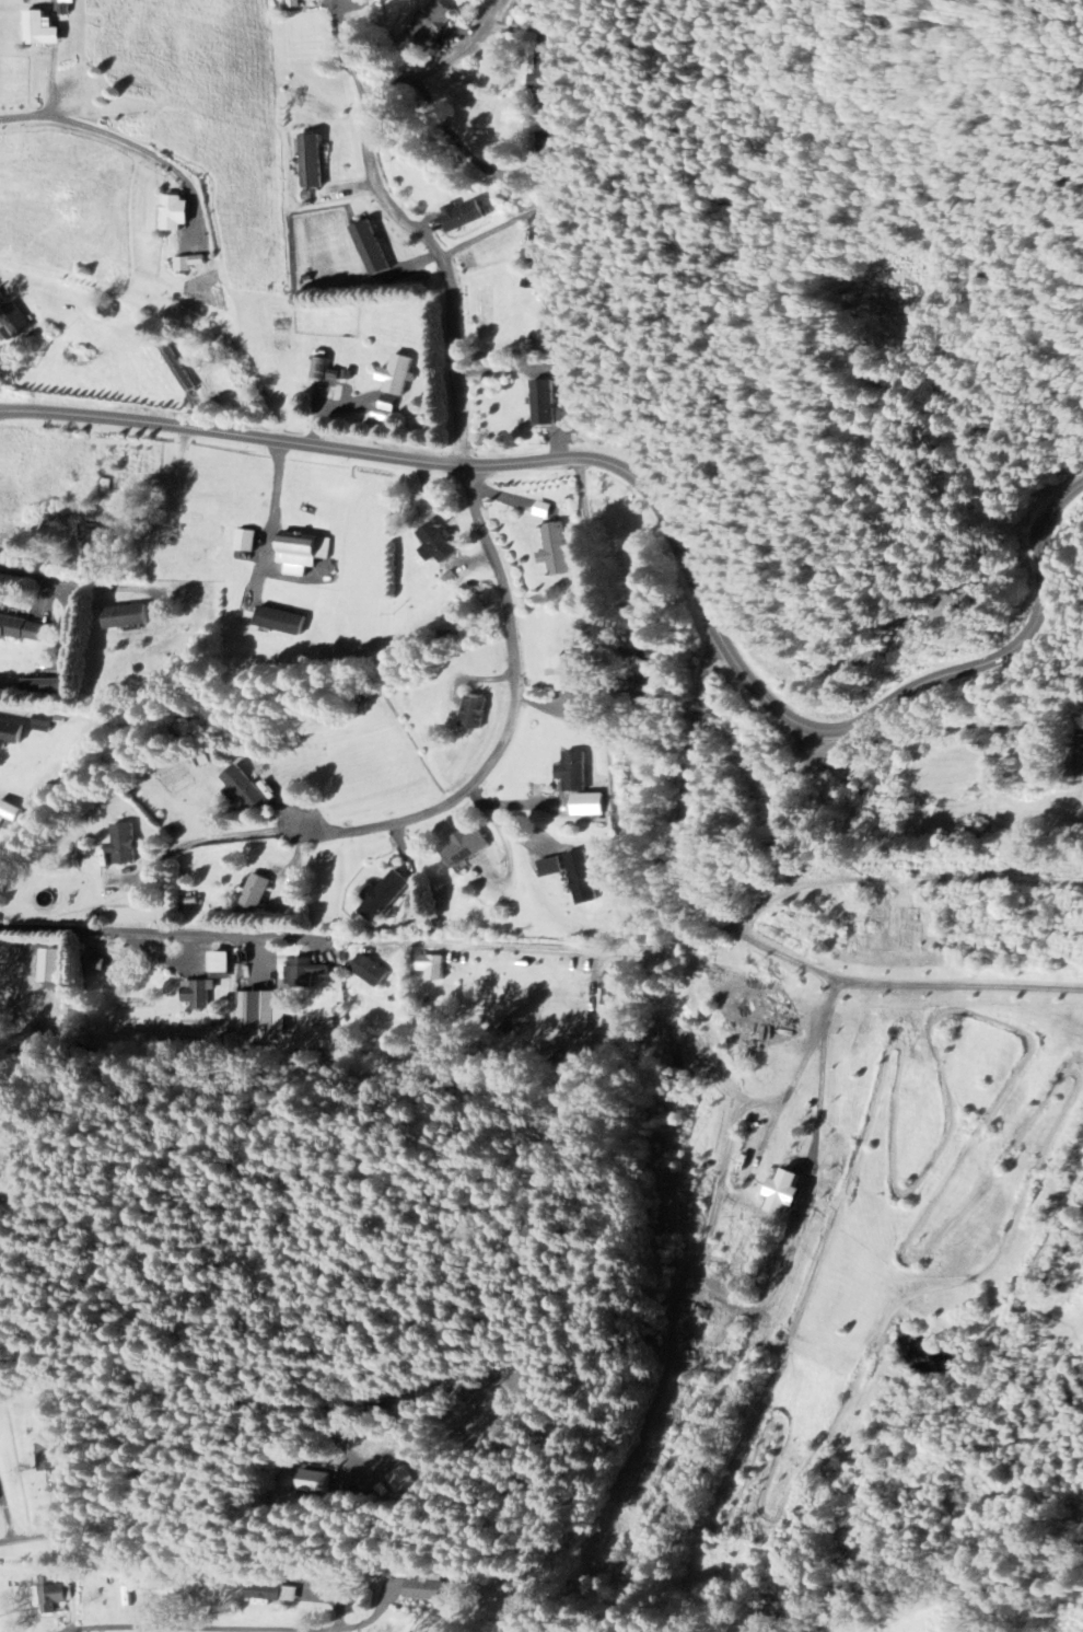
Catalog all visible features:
building: (69, 1)
building: (292, 3)
building: (435, 23)
building: (42, 31)
road: (345, 56)
building: (547, 78)
road: (91, 127)
road: (459, 146)
building: (314, 161)
road: (392, 205)
building: (180, 212)
building: (464, 216)
road: (499, 225)
building: (545, 244)
building: (374, 248)
building: (193, 263)
building: (15, 321)
building: (556, 322)
building: (177, 368)
building: (319, 368)
building: (398, 375)
building: (546, 403)
building: (386, 408)
road: (286, 441)
building: (543, 510)
road: (271, 522)
building: (247, 541)
building: (100, 543)
building: (440, 543)
building: (556, 551)
building: (304, 553)
road: (44, 579)
building: (128, 616)
building: (284, 621)
building: (24, 629)
building: (567, 673)
building: (49, 685)
road: (606, 704)
building: (475, 711)
road: (506, 719)
building: (44, 724)
road: (908, 729)
road: (826, 730)
building: (12, 733)
building: (575, 772)
building: (246, 788)
building: (590, 805)
building: (2, 822)
road: (497, 822)
road: (209, 842)
building: (125, 844)
building: (467, 848)
building: (552, 868)
building: (583, 878)
building: (256, 892)
building: (387, 898)
road: (166, 935)
road: (750, 938)
road: (457, 946)
road: (592, 951)
building: (222, 964)
building: (54, 965)
building: (434, 968)
building: (372, 971)
building: (307, 973)
building: (615, 988)
building: (199, 994)
building: (264, 1014)
road: (804, 1060)
building: (790, 1193)
road: (194, 1430)
building: (50, 1458)
building: (405, 1480)
building: (322, 1483)
road: (33, 1537)
building: (430, 1590)
building: (271, 1593)
building: (50, 1594)
road: (75, 1631)
road: (116, 1631)

